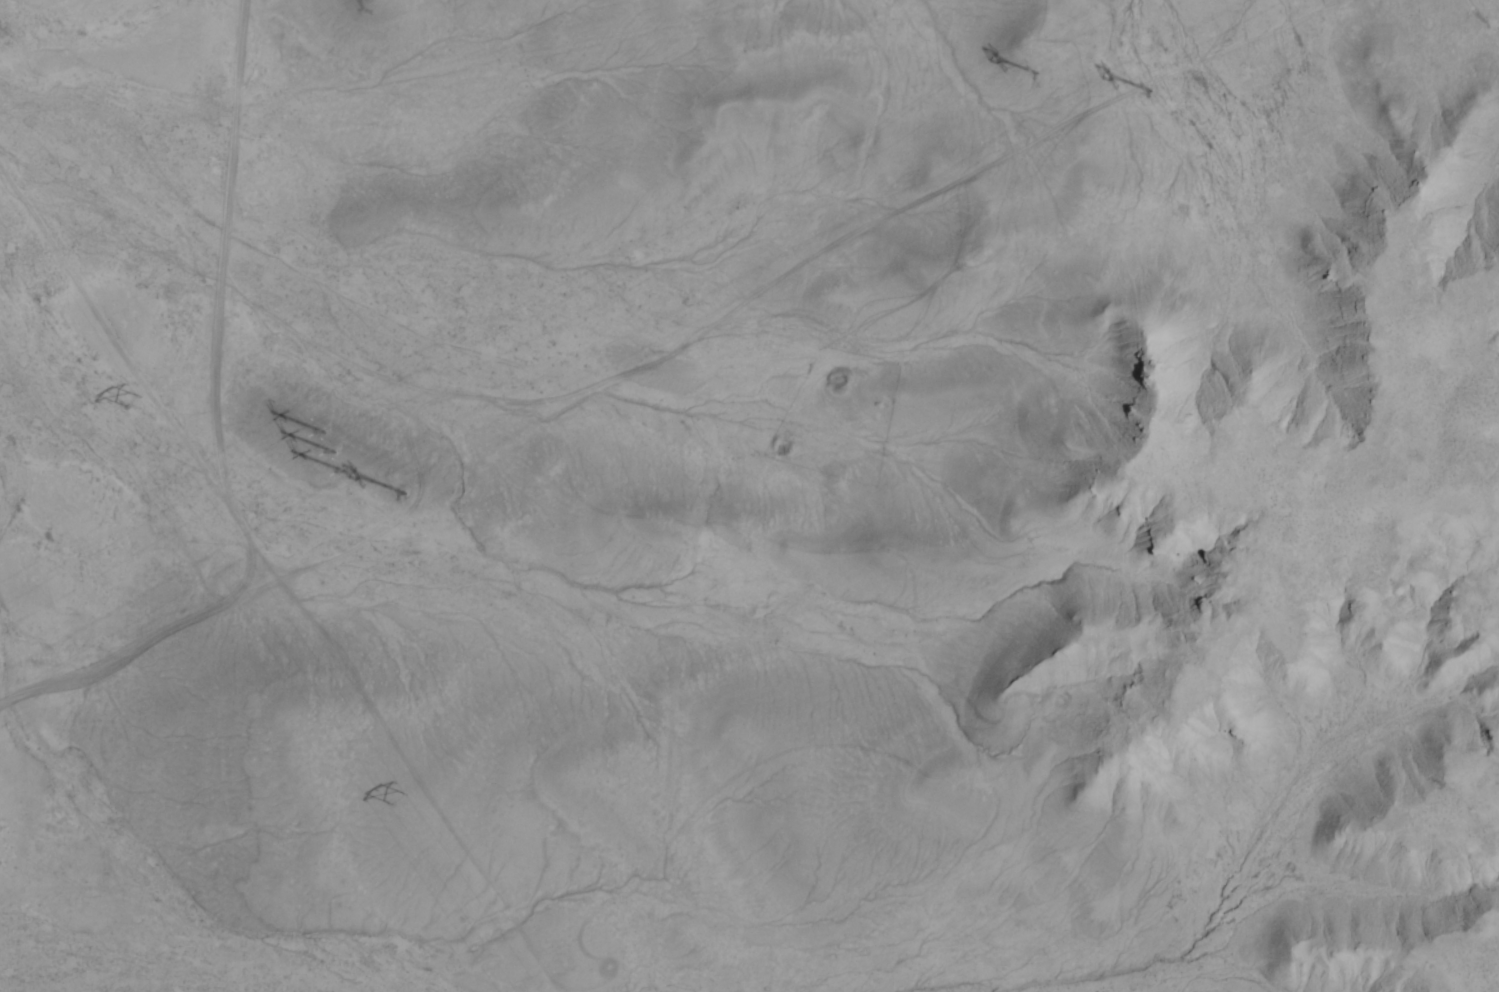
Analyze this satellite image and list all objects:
power tower: (1037, 67)
power tower: (1152, 84)
power tower: (132, 395)
power tower: (333, 443)
power tower: (404, 487)
road: (252, 534)
power tower: (398, 794)

